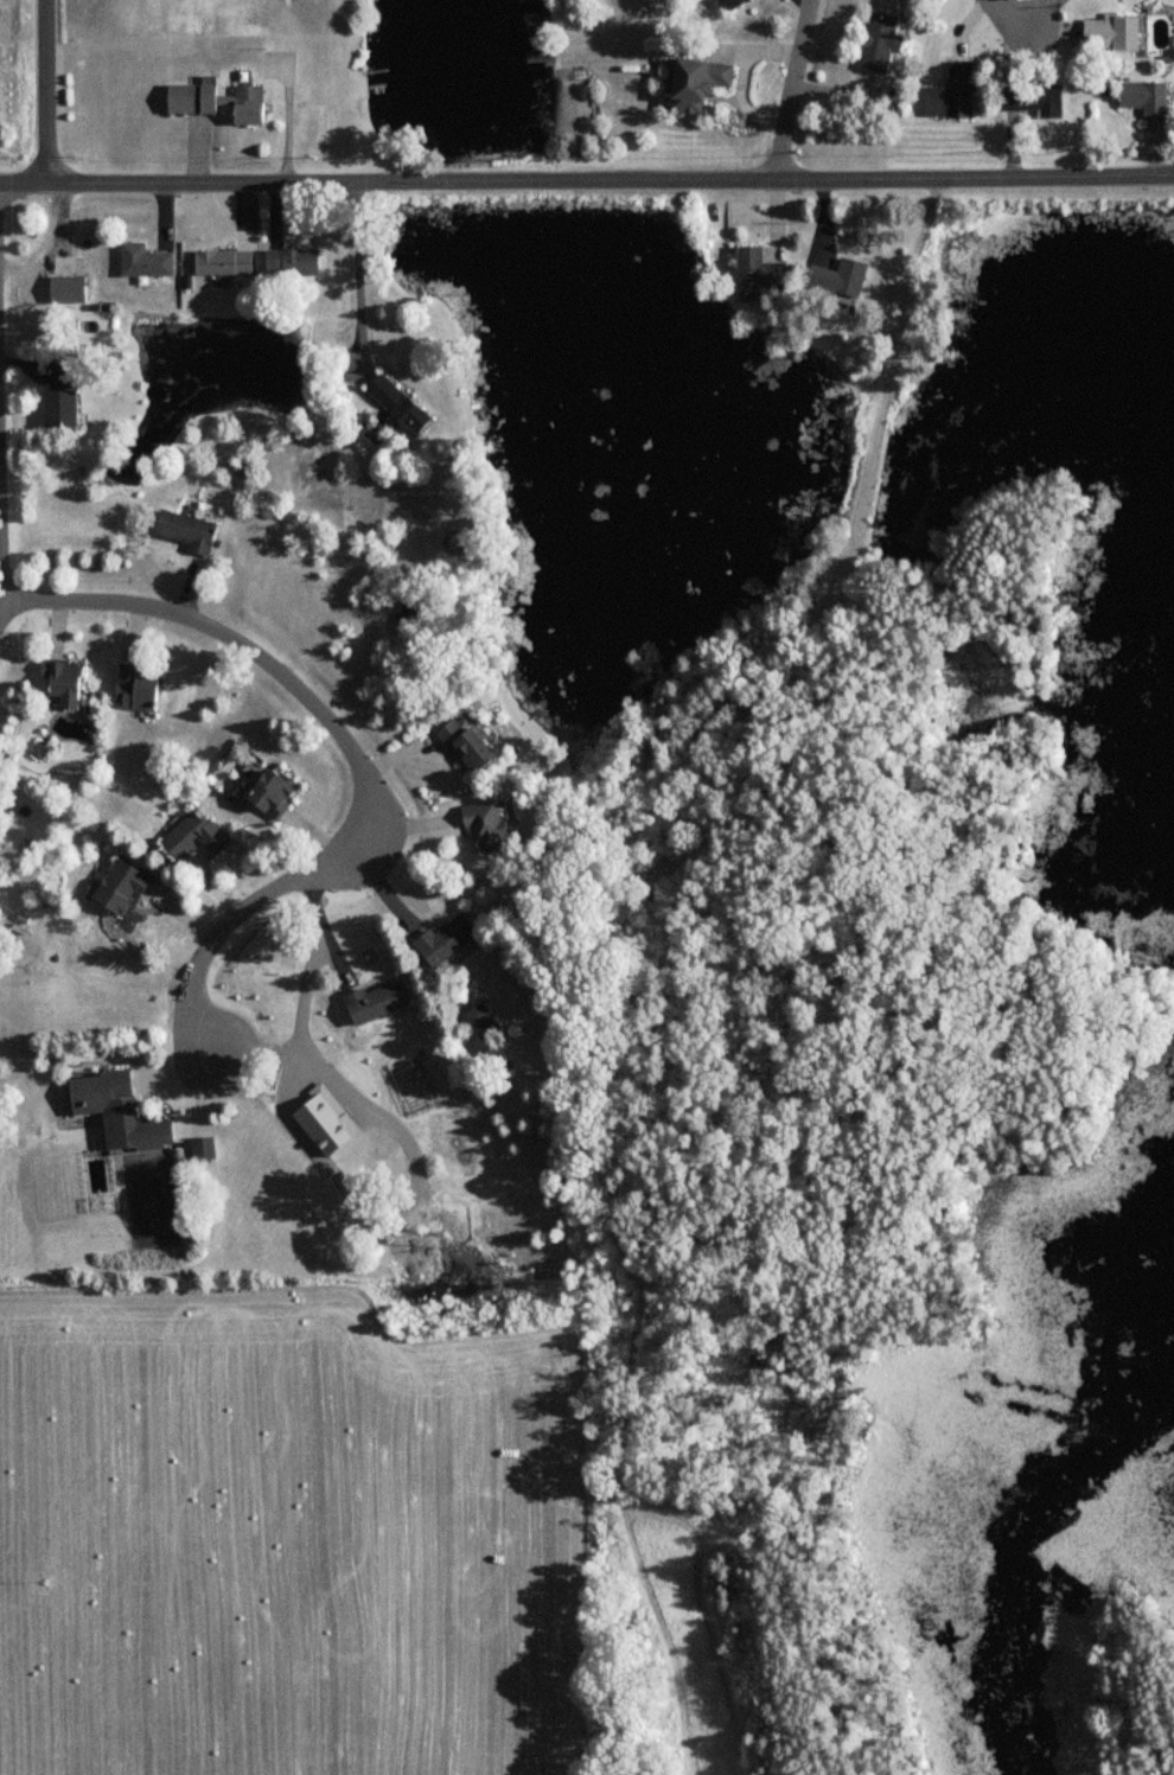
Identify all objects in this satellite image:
building: (735, 4)
road: (1013, 15)
building: (1116, 33)
building: (879, 41)
building: (701, 83)
road: (790, 90)
building: (957, 91)
road: (45, 92)
building: (1150, 97)
building: (1038, 98)
building: (222, 101)
road: (974, 177)
road: (387, 183)
road: (774, 218)
road: (821, 218)
building: (293, 258)
building: (143, 260)
building: (223, 261)
building: (759, 268)
building: (841, 276)
road: (356, 277)
building: (68, 286)
building: (63, 394)
building: (400, 401)
building: (186, 530)
road: (0, 567)
building: (410, 618)
building: (68, 681)
building: (140, 687)
building: (477, 743)
road: (351, 749)
building: (276, 792)
building: (492, 822)
building: (197, 834)
building: (123, 885)
building: (451, 938)
building: (381, 1000)
building: (481, 1020)
building: (122, 1110)

